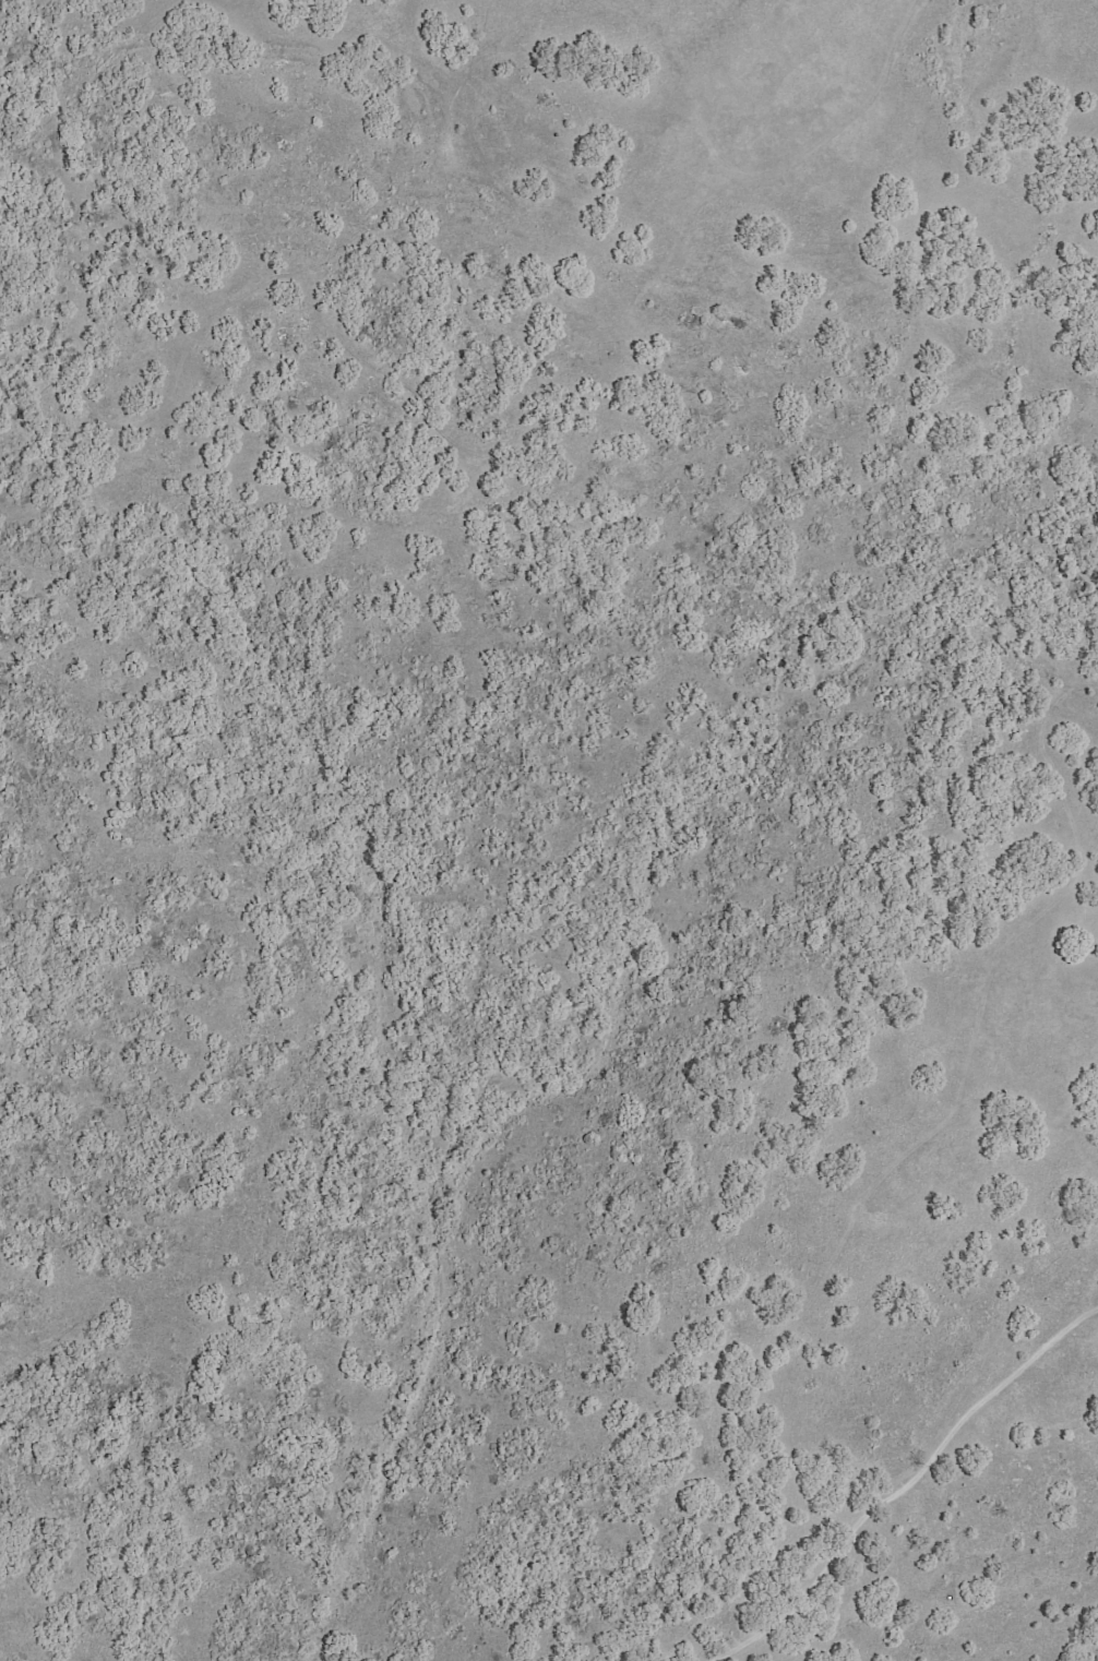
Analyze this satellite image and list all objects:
road: (906, 1489)

